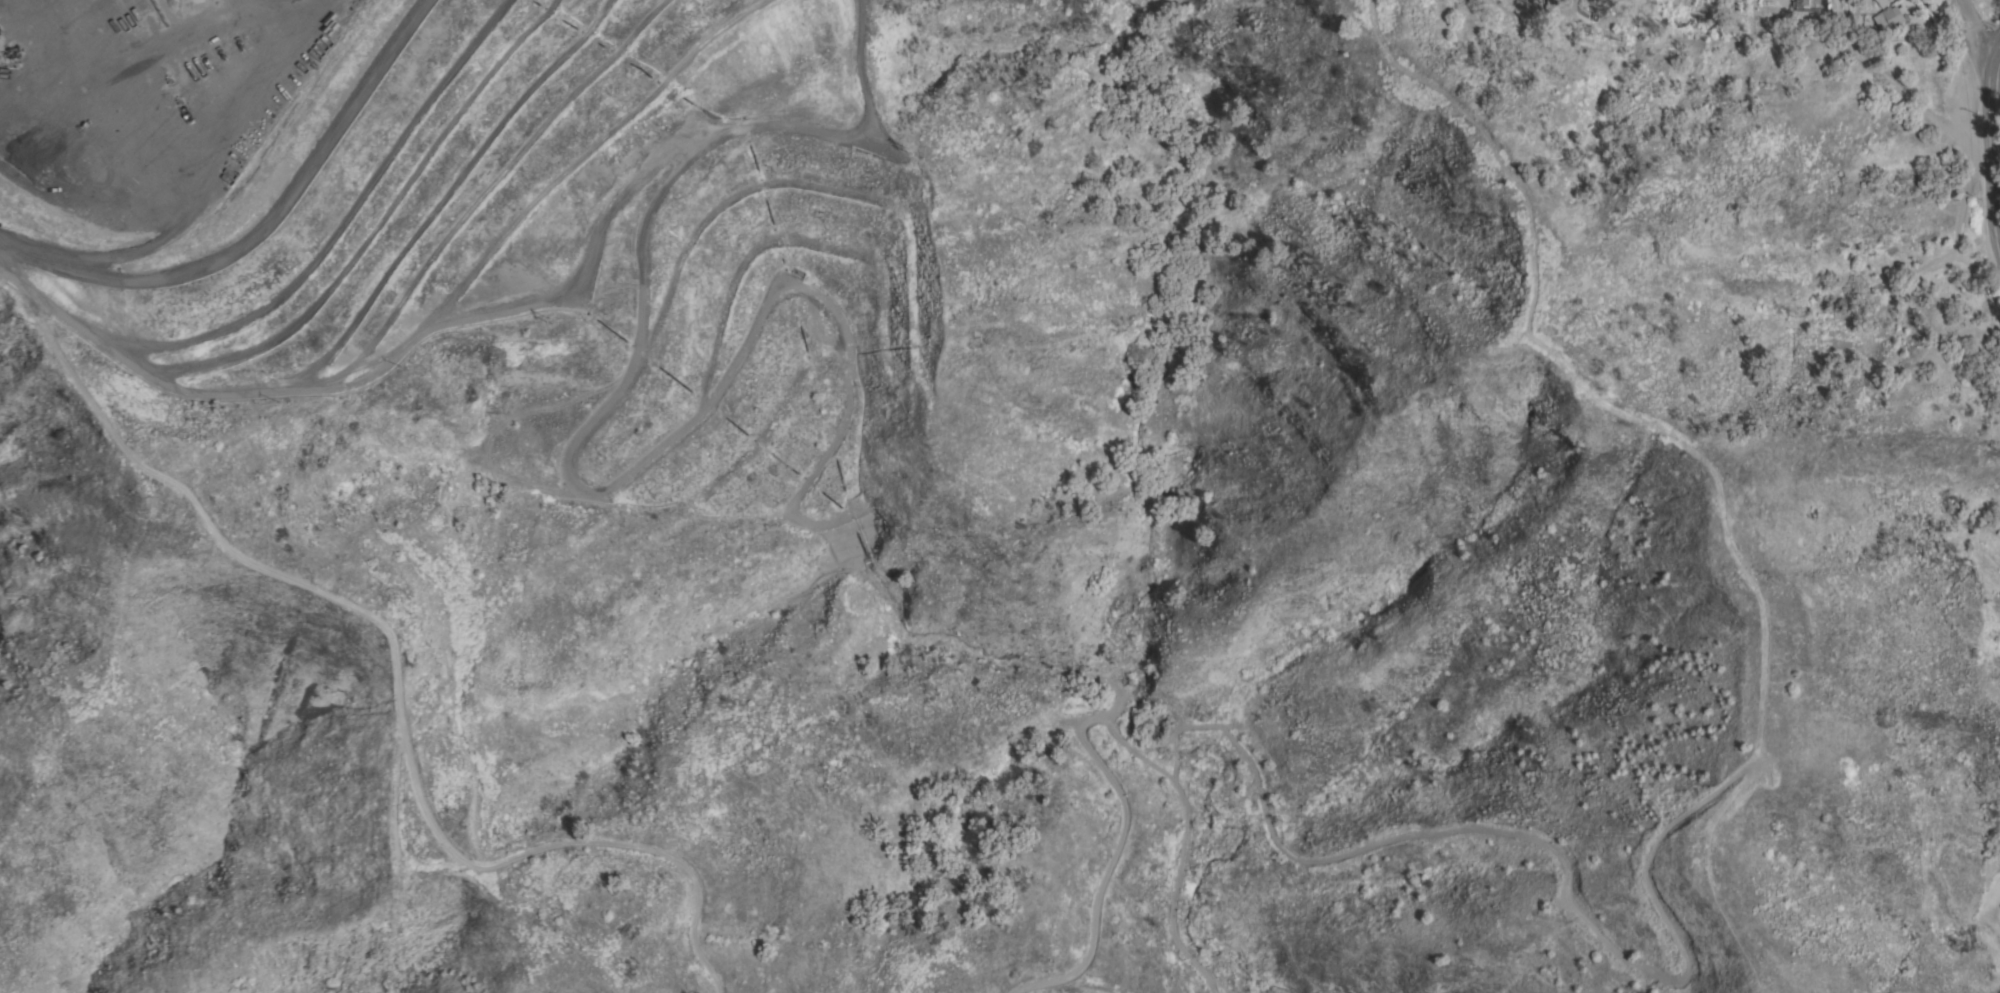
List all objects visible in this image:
building: (1882, 2)
road: (1719, 4)
building: (1806, 5)
building: (1553, 6)
building: (1893, 15)
building: (1684, 17)
road: (1974, 31)
road: (1955, 32)
road: (1987, 137)
road: (1995, 184)
road: (260, 229)
landfill: (506, 241)
road: (1996, 246)
road: (401, 655)
road: (1102, 723)
road: (1093, 982)
road: (1031, 984)

